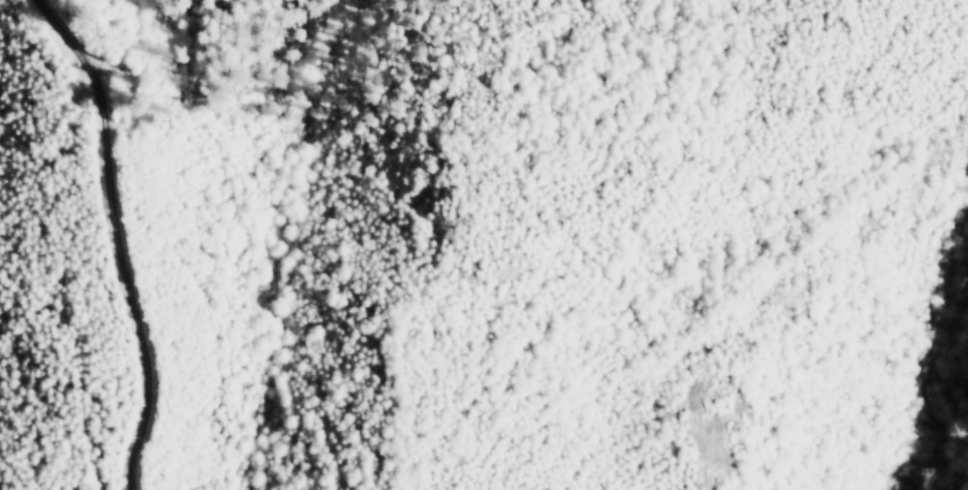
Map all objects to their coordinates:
road: (120, 238)

